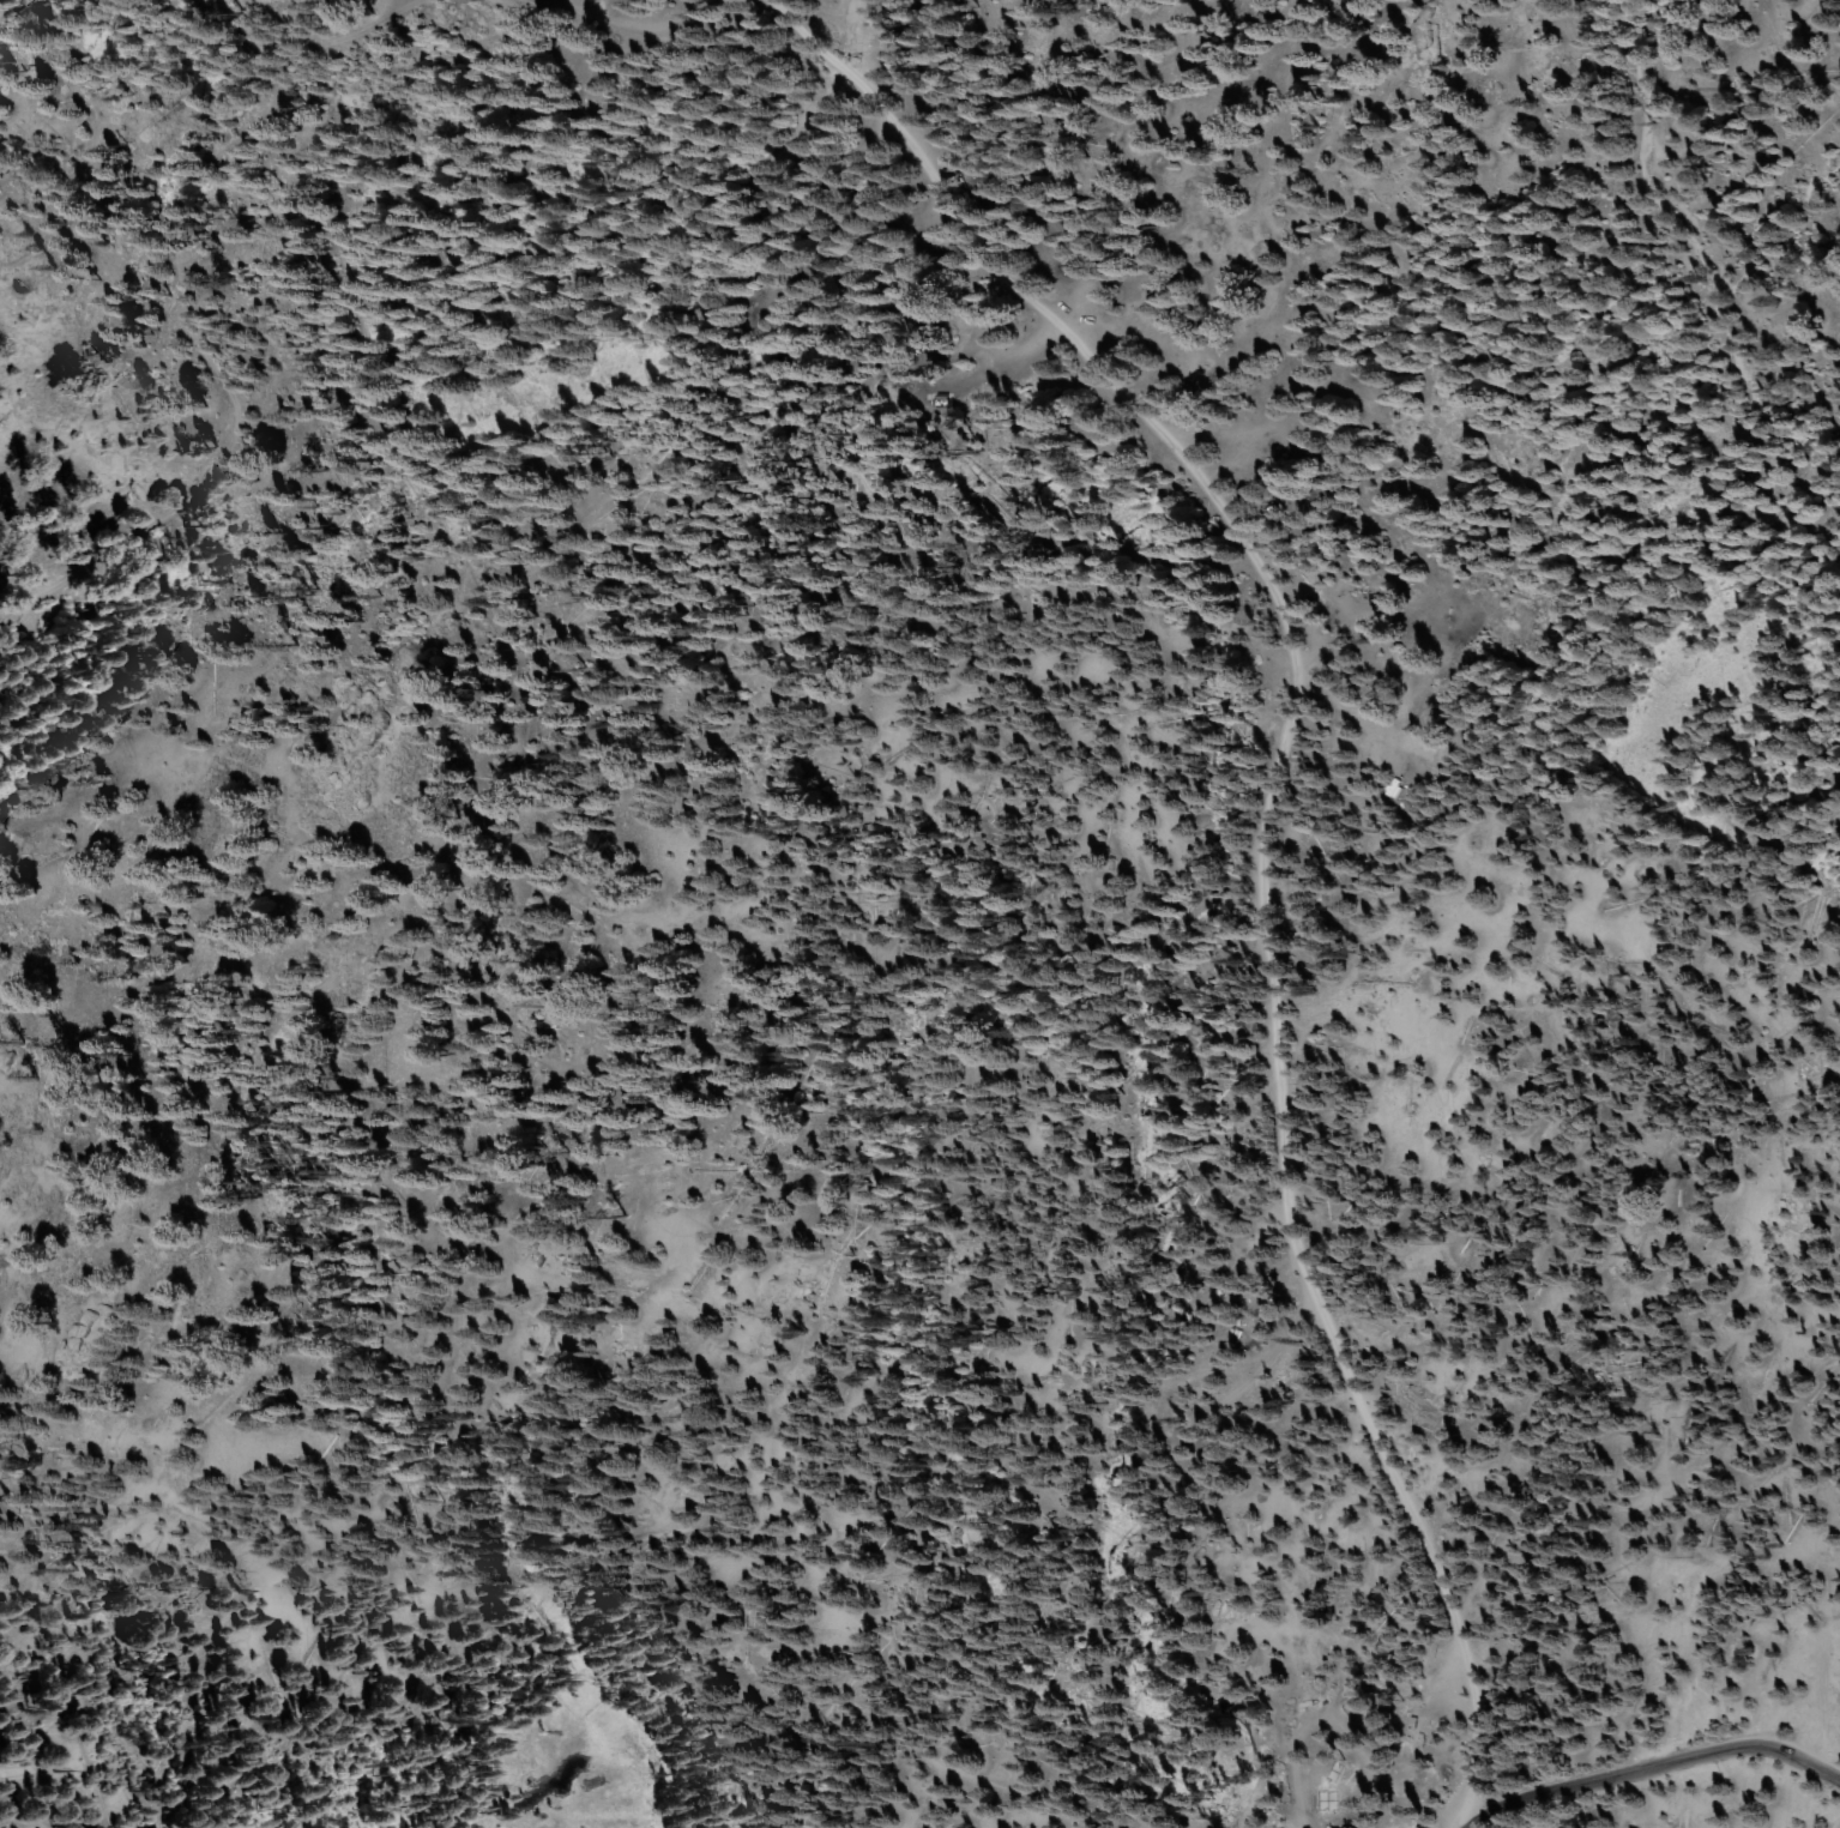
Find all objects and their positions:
road: (1262, 833)
road: (1651, 1763)

